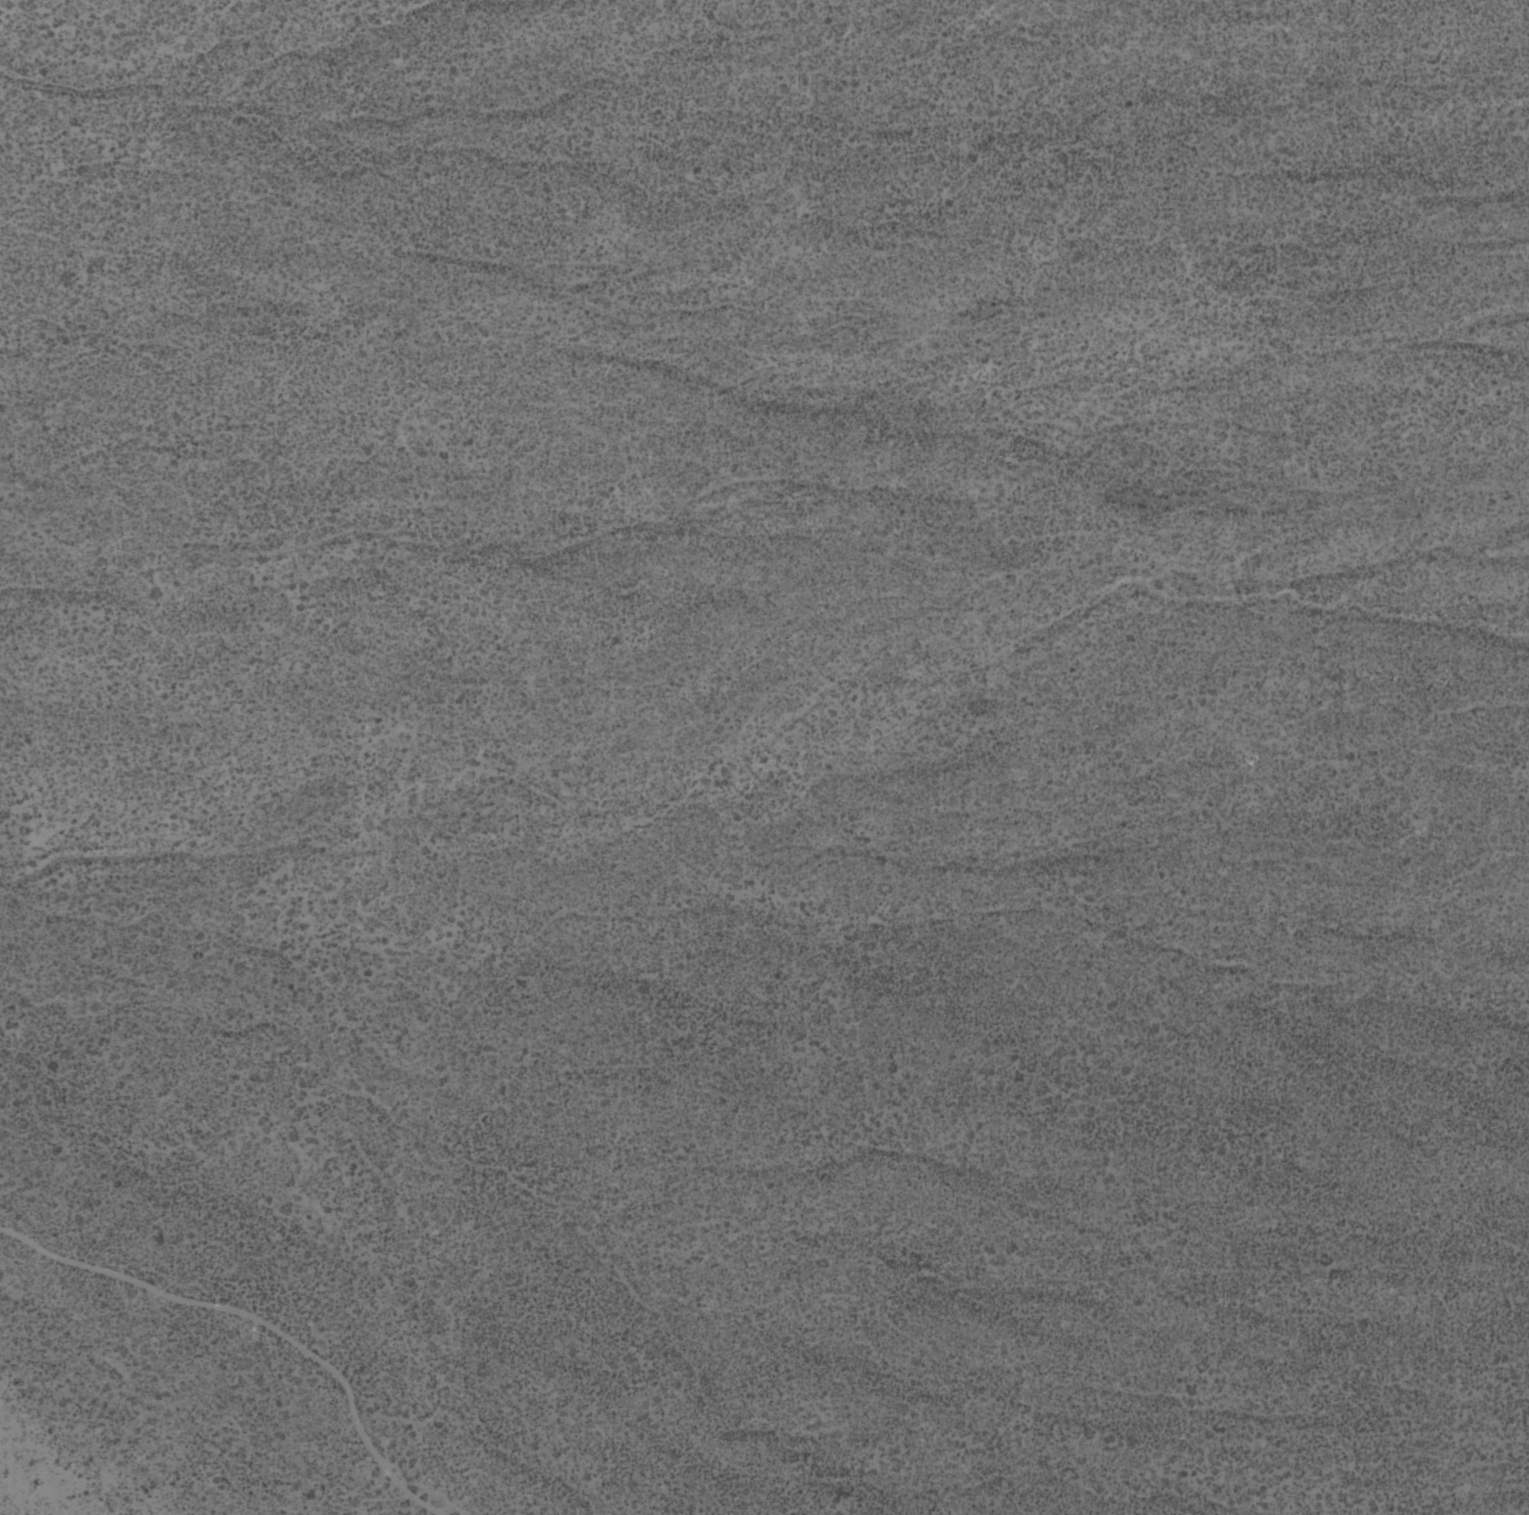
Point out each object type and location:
road: (252, 1325)

